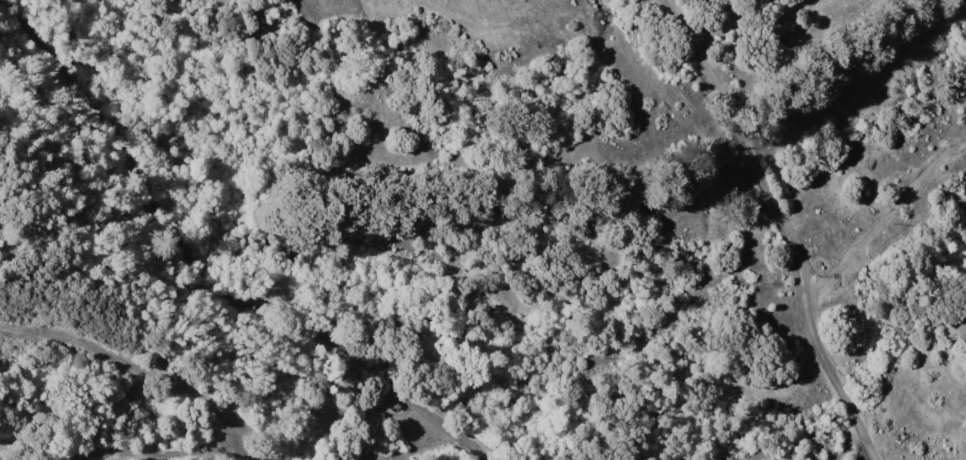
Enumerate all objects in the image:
road: (886, 217)
road: (783, 227)
road: (204, 272)
road: (148, 363)
road: (415, 441)

